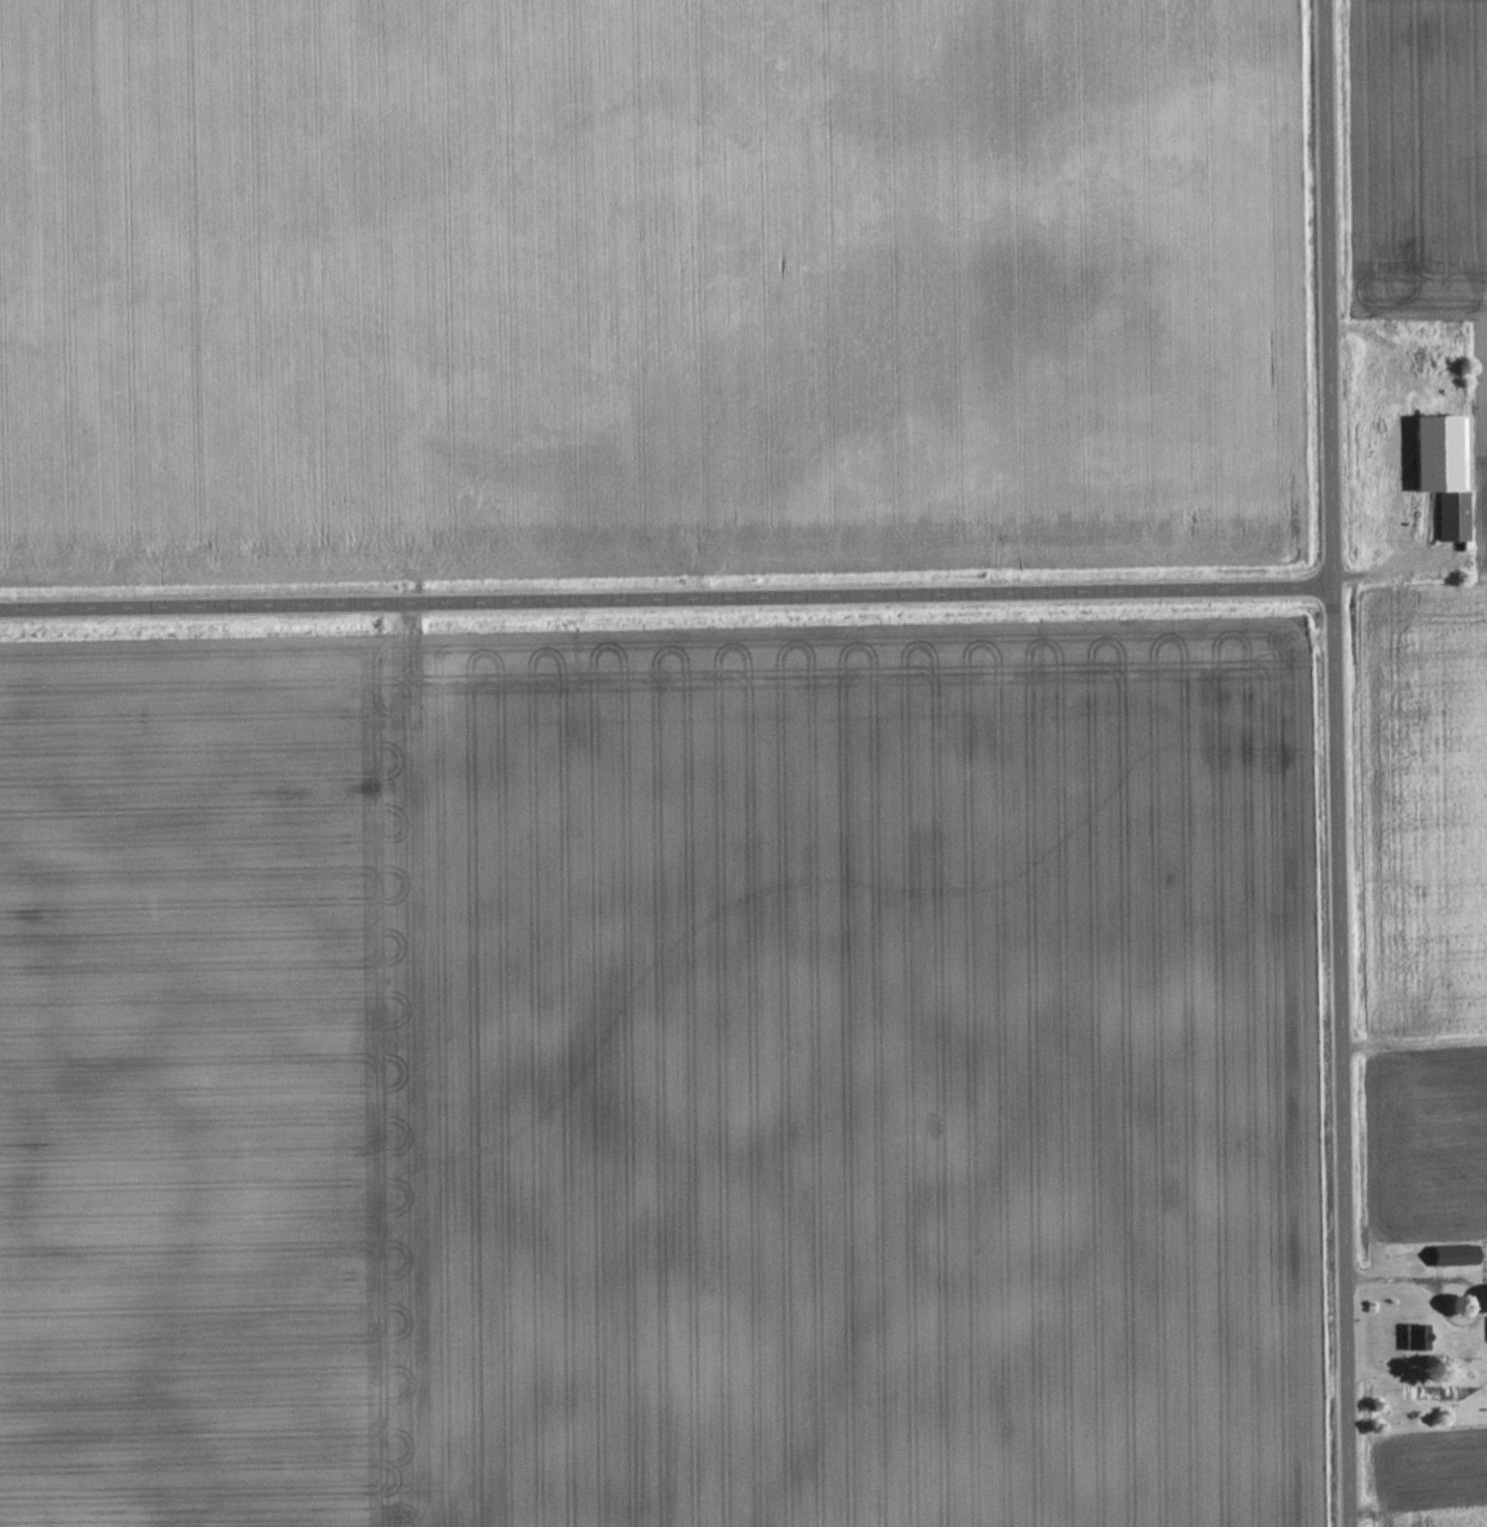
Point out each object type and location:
building: (1452, 516)
road: (668, 597)
road: (1339, 763)
building: (1454, 1256)
building: (1415, 1339)

